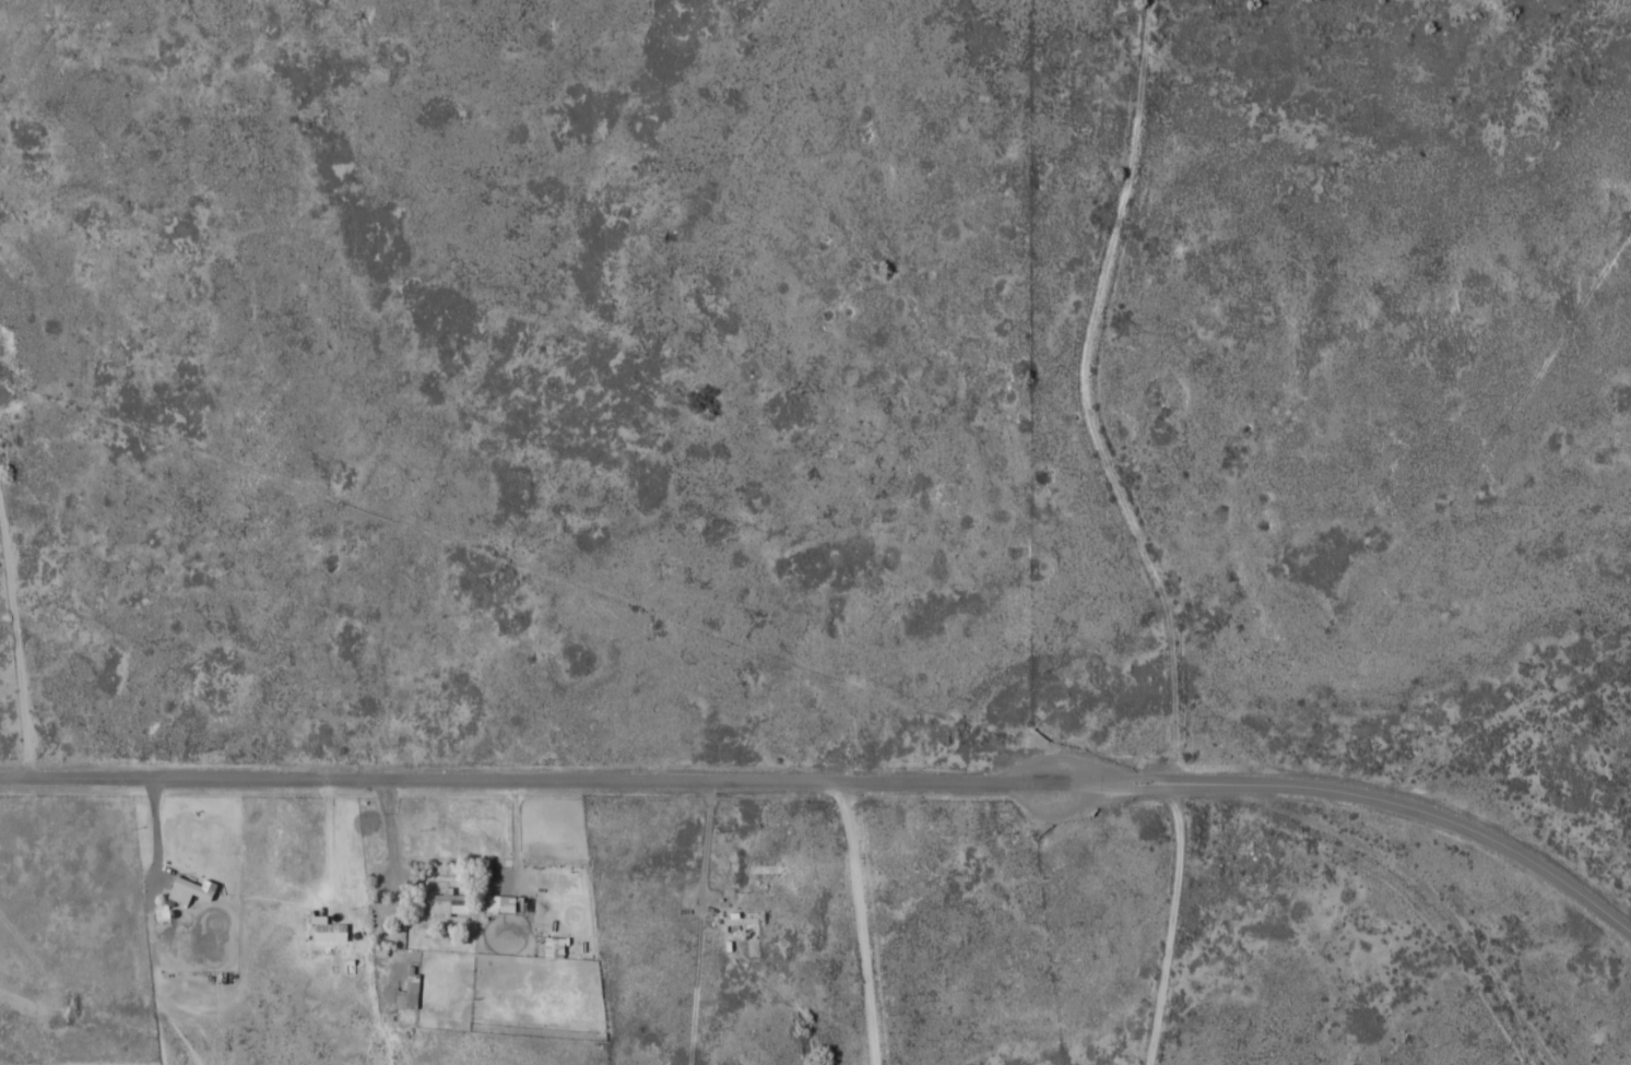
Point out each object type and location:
road: (723, 779)
building: (764, 867)
road: (1540, 872)
building: (741, 920)
road: (863, 921)
building: (406, 993)

